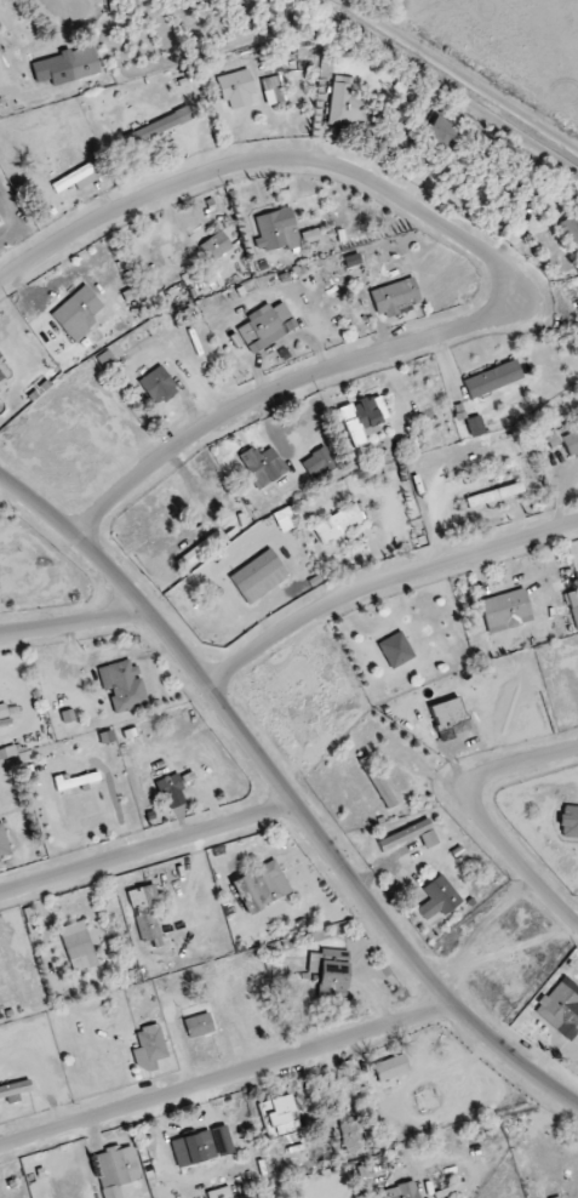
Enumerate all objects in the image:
road: (68, 1)
building: (81, 63)
building: (235, 89)
building: (271, 90)
building: (345, 103)
building: (156, 127)
building: (440, 136)
road: (270, 156)
building: (0, 218)
building: (570, 229)
building: (276, 230)
building: (216, 246)
building: (394, 297)
building: (78, 313)
building: (265, 326)
building: (4, 371)
building: (492, 378)
building: (156, 386)
road: (276, 388)
building: (361, 418)
building: (475, 426)
building: (553, 438)
building: (571, 443)
building: (317, 463)
building: (262, 466)
building: (500, 492)
building: (338, 523)
building: (258, 576)
road: (383, 583)
building: (505, 611)
building: (574, 611)
road: (73, 624)
building: (395, 650)
building: (122, 685)
building: (65, 715)
building: (448, 718)
building: (75, 780)
building: (378, 782)
building: (168, 786)
road: (286, 791)
road: (480, 815)
building: (568, 822)
building: (405, 834)
building: (2, 844)
road: (147, 848)
building: (261, 886)
building: (437, 898)
building: (145, 913)
building: (78, 946)
building: (328, 969)
building: (557, 1006)
building: (199, 1026)
building: (148, 1048)
building: (390, 1067)
road: (225, 1076)
building: (13, 1091)
building: (350, 1133)
building: (193, 1148)
building: (115, 1170)
building: (400, 1191)
building: (219, 1193)

